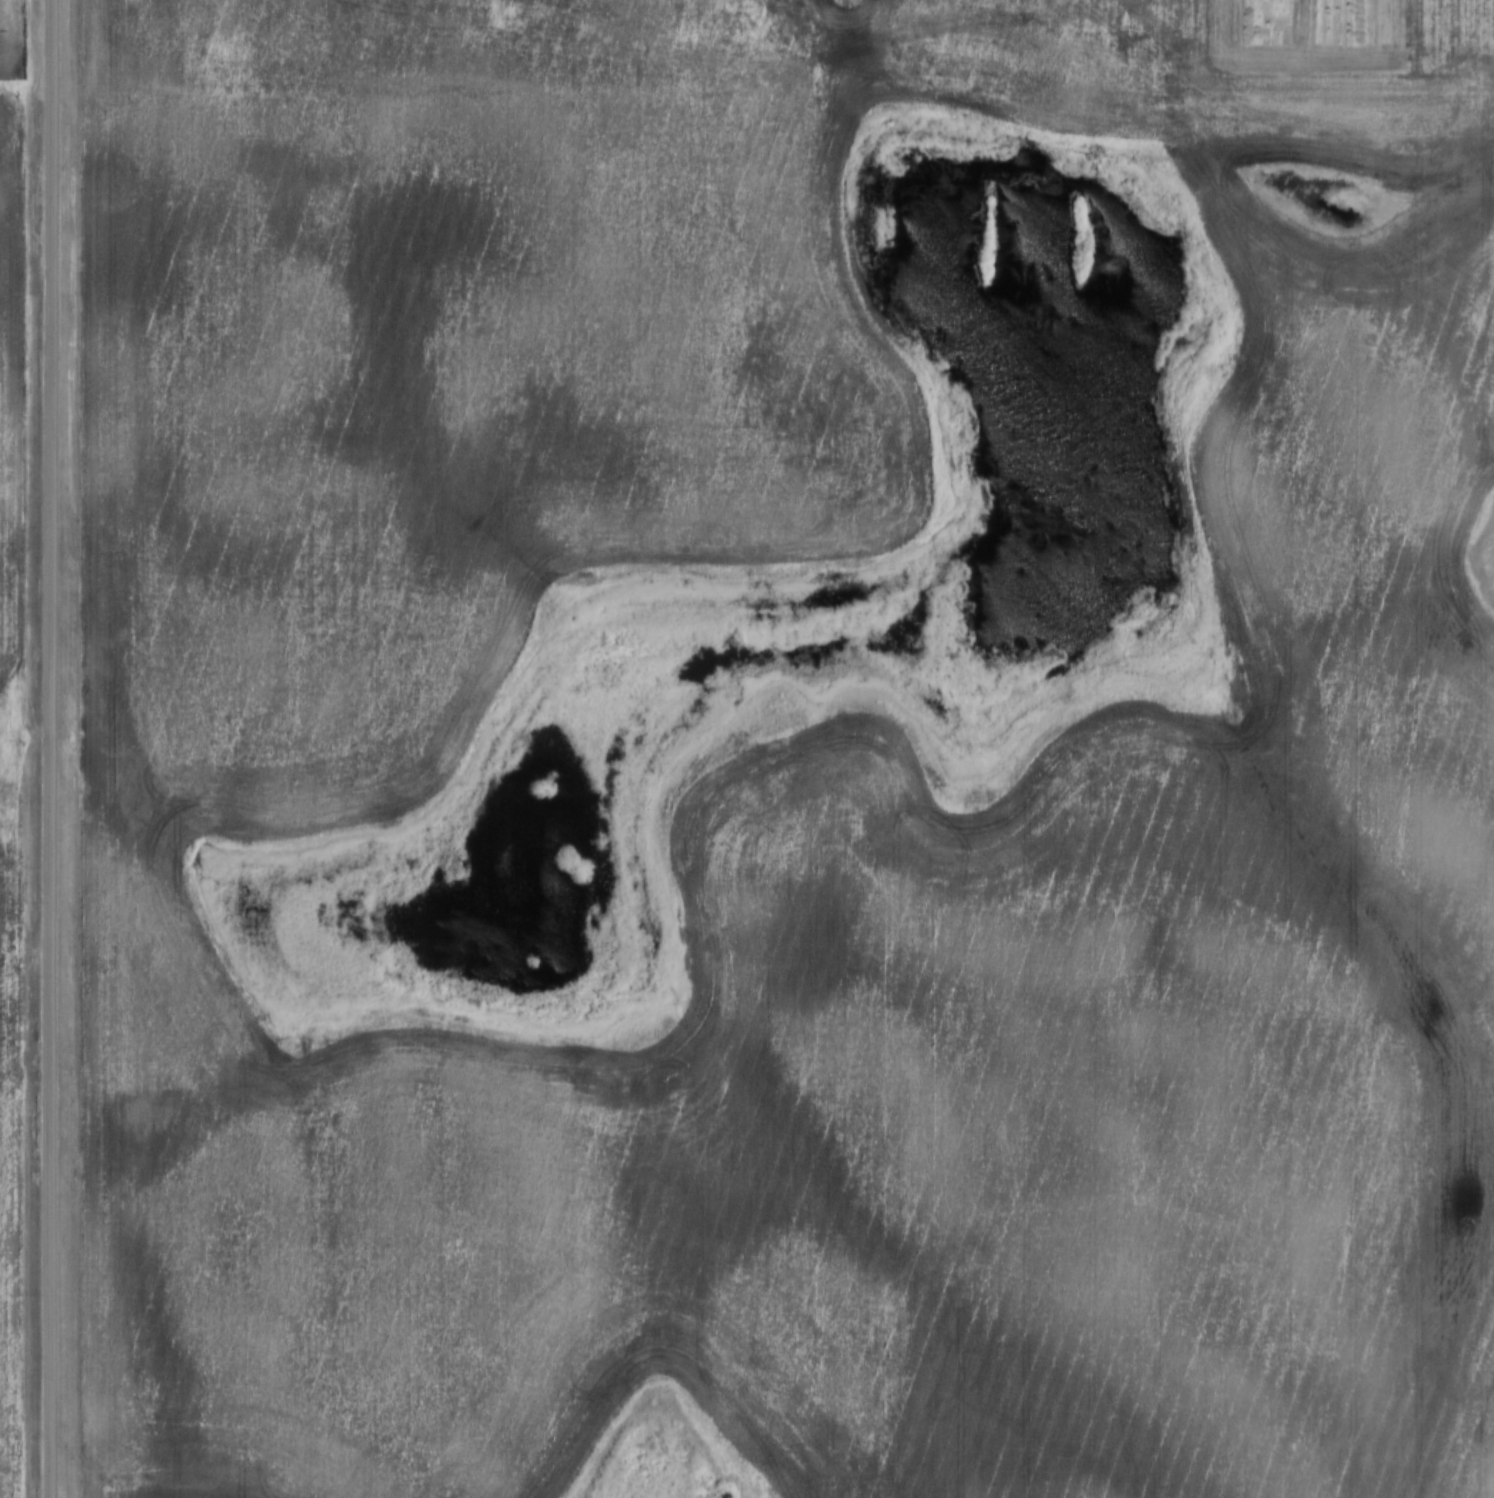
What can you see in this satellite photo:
road: (51, 749)

